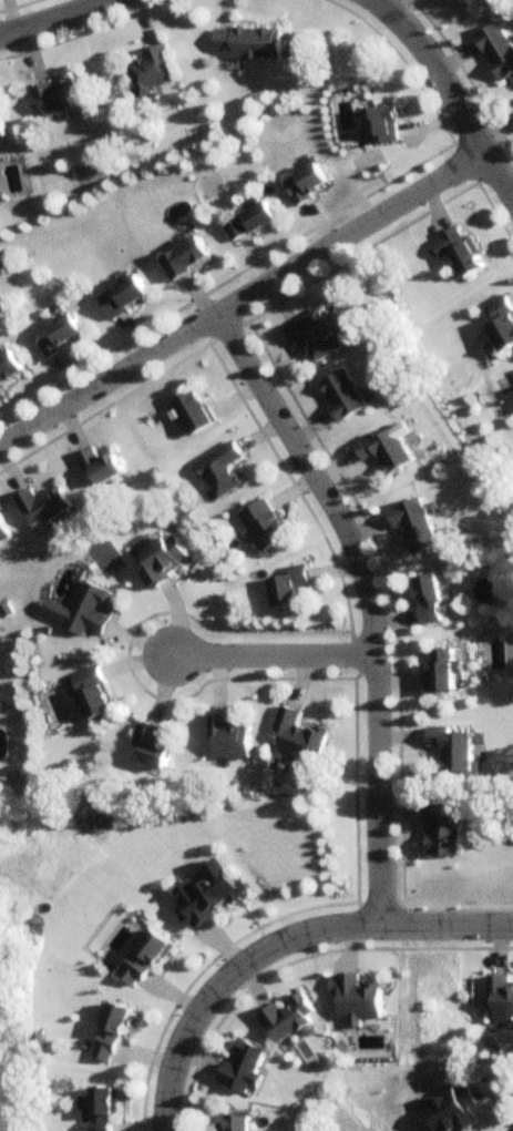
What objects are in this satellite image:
road: (53, 17)
building: (247, 43)
building: (499, 50)
building: (152, 72)
road: (451, 91)
building: (58, 98)
building: (382, 125)
building: (1, 126)
building: (306, 184)
building: (250, 222)
building: (459, 253)
building: (186, 258)
road: (243, 295)
building: (123, 297)
building: (502, 323)
building: (61, 336)
building: (316, 338)
building: (8, 367)
building: (345, 397)
building: (194, 412)
building: (388, 451)
building: (101, 468)
building: (222, 470)
road: (312, 476)
building: (42, 507)
building: (265, 524)
building: (415, 526)
building: (3, 534)
building: (163, 561)
building: (288, 588)
building: (431, 600)
building: (83, 610)
road: (273, 655)
building: (443, 672)
building: (93, 693)
building: (298, 736)
building: (229, 740)
building: (151, 747)
building: (453, 748)
road: (372, 786)
building: (206, 895)
road: (278, 938)
building: (143, 960)
building: (501, 998)
building: (287, 1020)
building: (110, 1035)
building: (244, 1069)
building: (102, 1109)
building: (234, 1124)

